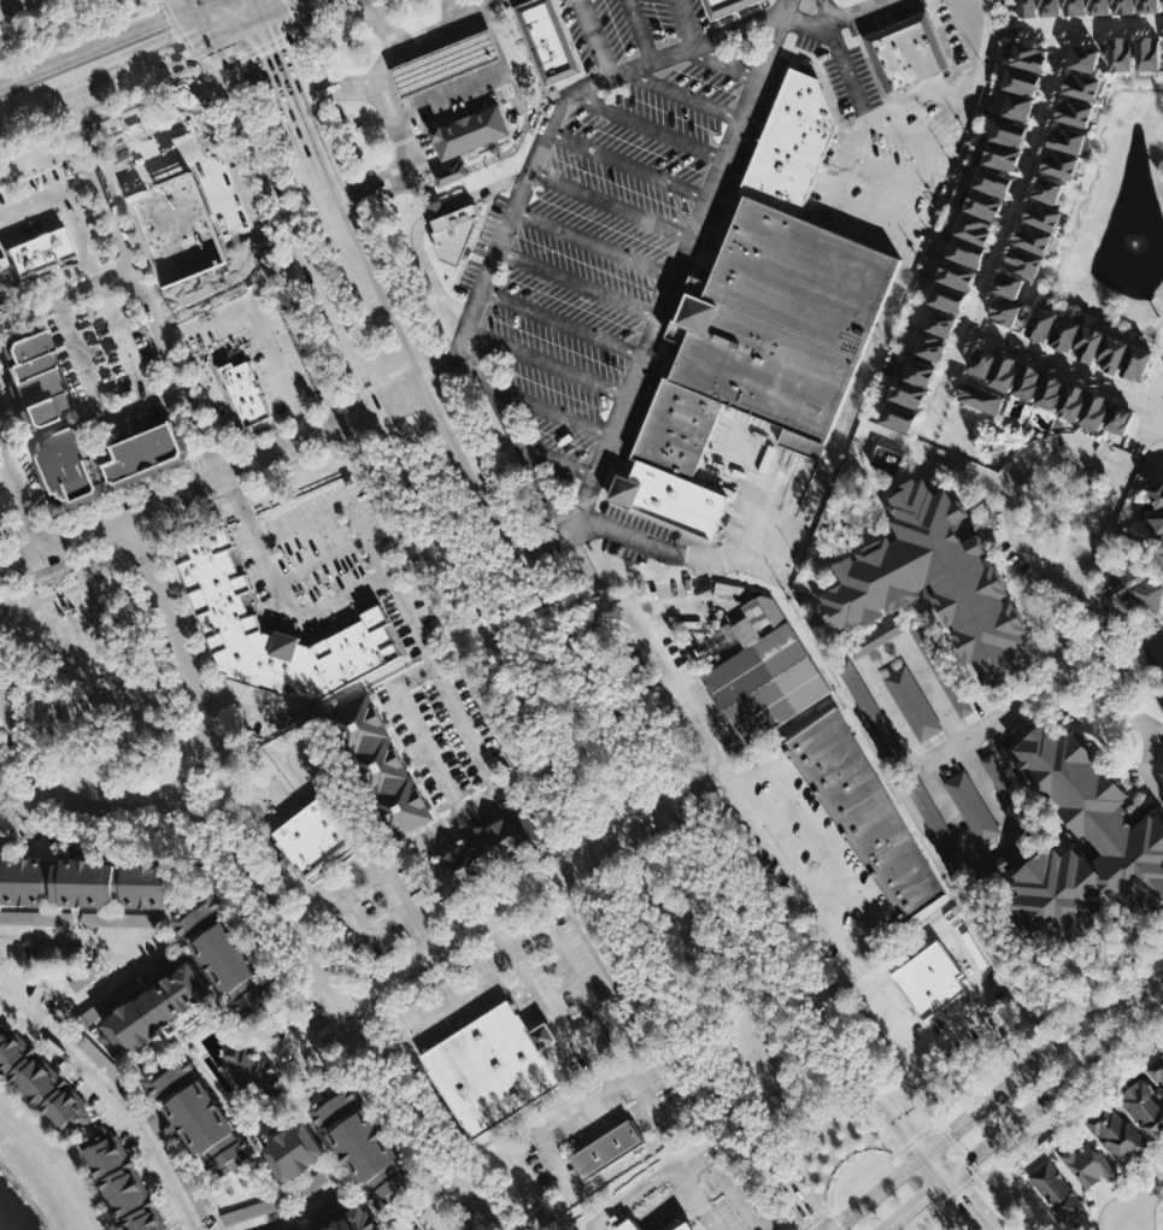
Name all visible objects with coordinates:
street lamp: (942, 1)
building: (1120, 1)
building: (1144, 1)
building: (1162, 1)
road: (198, 2)
road: (206, 2)
building: (1022, 2)
building: (1045, 2)
building: (1070, 2)
building: (1094, 2)
road: (351, 4)
parking lot: (17, 6)
traffic signals: (199, 6)
building: (719, 6)
parking lot: (850, 7)
road: (168, 8)
road: (258, 8)
road: (284, 8)
road: (454, 10)
road: (830, 11)
road: (857, 13)
traffic signals: (262, 18)
road: (323, 18)
road: (205, 22)
road: (381, 23)
road: (688, 23)
road: (1086, 27)
road: (236, 28)
street lamp: (842, 30)
road: (640, 31)
parking lot: (628, 33)
road: (81, 35)
traffic signals: (212, 39)
road: (595, 39)
building: (550, 40)
road: (99, 46)
road: (834, 46)
road: (188, 47)
building: (906, 51)
building: (1145, 51)
road: (252, 52)
road: (392, 53)
building: (1027, 53)
building: (1117, 54)
building: (1082, 55)
road: (724, 60)
building: (445, 61)
gas station: (445, 61)
parking lot: (846, 76)
building: (1021, 77)
road: (105, 80)
road: (482, 80)
building: (1079, 83)
fountain: (184, 88)
road: (333, 90)
road: (685, 94)
road: (923, 98)
building: (1018, 101)
building: (1071, 111)
road: (104, 116)
road: (647, 126)
building: (1008, 126)
building: (470, 131)
road: (521, 131)
road: (912, 136)
building: (1064, 136)
building: (792, 143)
building: (1000, 152)
parking lot: (176, 157)
road: (406, 163)
road: (851, 163)
building: (1056, 163)
road: (628, 165)
building: (452, 170)
parking lot: (887, 170)
road: (452, 172)
building: (991, 175)
road: (897, 176)
road: (92, 184)
road: (413, 184)
road: (272, 187)
building: (1047, 190)
road: (75, 192)
building: (982, 198)
road: (611, 205)
road: (33, 206)
parking lot: (51, 210)
road: (515, 210)
building: (1041, 213)
road: (421, 222)
road: (233, 223)
building: (975, 223)
road: (1074, 224)
road: (78, 228)
road: (876, 229)
road: (1005, 231)
building: (196, 234)
building: (456, 234)
building: (1032, 237)
road: (283, 243)
parking lot: (482, 243)
fountain: (1134, 243)
building: (163, 245)
road: (163, 245)
road: (594, 245)
building: (965, 247)
building: (34, 255)
building: (1022, 260)
parking lot: (230, 266)
road: (280, 266)
road: (96, 270)
building: (956, 271)
road: (677, 272)
parking lot: (618, 278)
road: (43, 279)
road: (2, 282)
road: (580, 282)
building: (1009, 286)
road: (142, 288)
road: (903, 288)
road: (66, 294)
building: (947, 294)
building: (1005, 311)
street lamp: (54, 312)
building: (783, 320)
building: (941, 320)
building: (1042, 322)
road: (562, 324)
building: (1065, 331)
road: (178, 339)
road: (125, 341)
building: (1089, 341)
parking lot: (253, 342)
building: (932, 343)
building: (1, 347)
building: (1115, 351)
building: (1138, 359)
road: (446, 360)
building: (983, 361)
road: (545, 365)
parking lot: (111, 366)
road: (1067, 366)
building: (921, 367)
road: (359, 370)
road: (281, 371)
building: (1006, 371)
road: (221, 377)
building: (34, 378)
building: (1029, 381)
building: (909, 389)
building: (1052, 390)
building: (246, 392)
road: (403, 395)
building: (981, 396)
road: (96, 398)
building: (1074, 400)
building: (19, 408)
building: (1098, 410)
road: (551, 412)
building: (898, 412)
road: (1150, 413)
road: (20, 414)
building: (1121, 419)
road: (337, 424)
building: (679, 429)
building: (146, 452)
road: (208, 452)
road: (1056, 458)
road: (553, 459)
parking lot: (754, 463)
road: (193, 464)
building: (41, 465)
building: (69, 465)
street lamp: (202, 466)
building: (154, 469)
road: (242, 469)
parking lot: (16, 470)
road: (982, 475)
road: (40, 481)
road: (199, 488)
road: (393, 490)
road: (190, 493)
road: (754, 493)
building: (1155, 494)
road: (22, 496)
building: (671, 498)
road: (235, 499)
road: (121, 501)
road: (161, 506)
road: (304, 522)
building: (1157, 523)
building: (2, 529)
road: (546, 543)
road: (66, 545)
road: (679, 554)
road: (322, 560)
parking lot: (335, 567)
road: (123, 571)
flagpole: (57, 579)
road: (593, 579)
building: (935, 579)
road: (74, 585)
road: (16, 588)
building: (1134, 593)
road: (39, 601)
road: (92, 607)
road: (293, 608)
road: (650, 610)
building: (227, 620)
building: (875, 638)
road: (422, 642)
road: (581, 651)
road: (187, 654)
road: (45, 655)
park: (99, 671)
building: (764, 673)
road: (1071, 677)
building: (856, 683)
road: (174, 685)
parking lot: (675, 688)
road: (161, 690)
road: (677, 691)
road: (1, 694)
building: (914, 704)
road: (237, 706)
parking lot: (253, 710)
road: (998, 722)
road: (418, 731)
road: (45, 740)
parking lot: (452, 751)
road: (921, 759)
road: (1149, 763)
building: (384, 765)
road: (753, 775)
road: (701, 785)
road: (58, 790)
road: (139, 798)
road: (35, 800)
building: (927, 806)
building: (973, 807)
road: (459, 811)
building: (865, 811)
road: (8, 819)
road: (585, 828)
road: (27, 835)
building: (315, 836)
building: (1126, 836)
road: (824, 846)
building: (486, 852)
parking lot: (805, 860)
road: (792, 869)
road: (375, 873)
building: (86, 882)
road: (265, 898)
parking lot: (369, 900)
road: (511, 906)
road: (83, 908)
building: (20, 917)
road: (304, 917)
building: (118, 918)
road: (365, 935)
road: (274, 937)
road: (423, 937)
road: (505, 937)
road: (864, 938)
road: (147, 940)
road: (180, 948)
road: (901, 952)
building: (229, 954)
road: (967, 970)
building: (86, 976)
road: (483, 978)
building: (930, 978)
road: (835, 984)
road: (869, 985)
parking lot: (535, 997)
road: (216, 999)
building: (894, 1007)
building: (157, 1010)
road: (108, 1011)
road: (889, 1012)
road: (257, 1018)
road: (384, 1030)
road: (544, 1032)
road: (394, 1038)
road: (959, 1038)
road: (912, 1043)
parking lot: (298, 1047)
road: (301, 1047)
road: (597, 1048)
building: (1156, 1067)
building: (492, 1070)
building: (253, 1073)
road: (906, 1083)
building: (41, 1087)
road: (685, 1095)
road: (116, 1096)
road: (313, 1096)
road: (992, 1097)
road: (1075, 1105)
building: (1141, 1105)
road: (157, 1106)
road: (929, 1111)
road: (1024, 1116)
building: (202, 1117)
road: (290, 1118)
road: (583, 1120)
parking lot: (593, 1120)
road: (424, 1122)
power tower: (698, 1126)
traffic signals: (955, 1131)
building: (1114, 1132)
building: (365, 1146)
building: (606, 1148)
road: (329, 1149)
building: (296, 1150)
road: (712, 1150)
road: (848, 1153)
road: (628, 1163)
building: (1079, 1165)
road: (246, 1172)
road: (348, 1178)
building: (118, 1182)
building: (315, 1183)
building: (1053, 1189)
road: (258, 1191)
traffic signals: (930, 1194)
road: (634, 1197)
road: (953, 1197)
traffic signals: (965, 1197)
road: (439, 1199)
road: (777, 1199)
road: (1144, 1200)
road: (700, 1201)
road: (660, 1202)
road: (425, 1206)
road: (211, 1207)
road: (300, 1211)
road: (666, 1211)
road: (340, 1212)
road: (547, 1212)
road: (671, 1213)
parking lot: (719, 1217)
road: (471, 1218)
power tower: (764, 1220)
building: (356, 1222)
road: (401, 1223)
building: (628, 1225)
road: (629, 1225)
building: (677, 1225)
road: (317, 1229)
road: (638, 1229)

